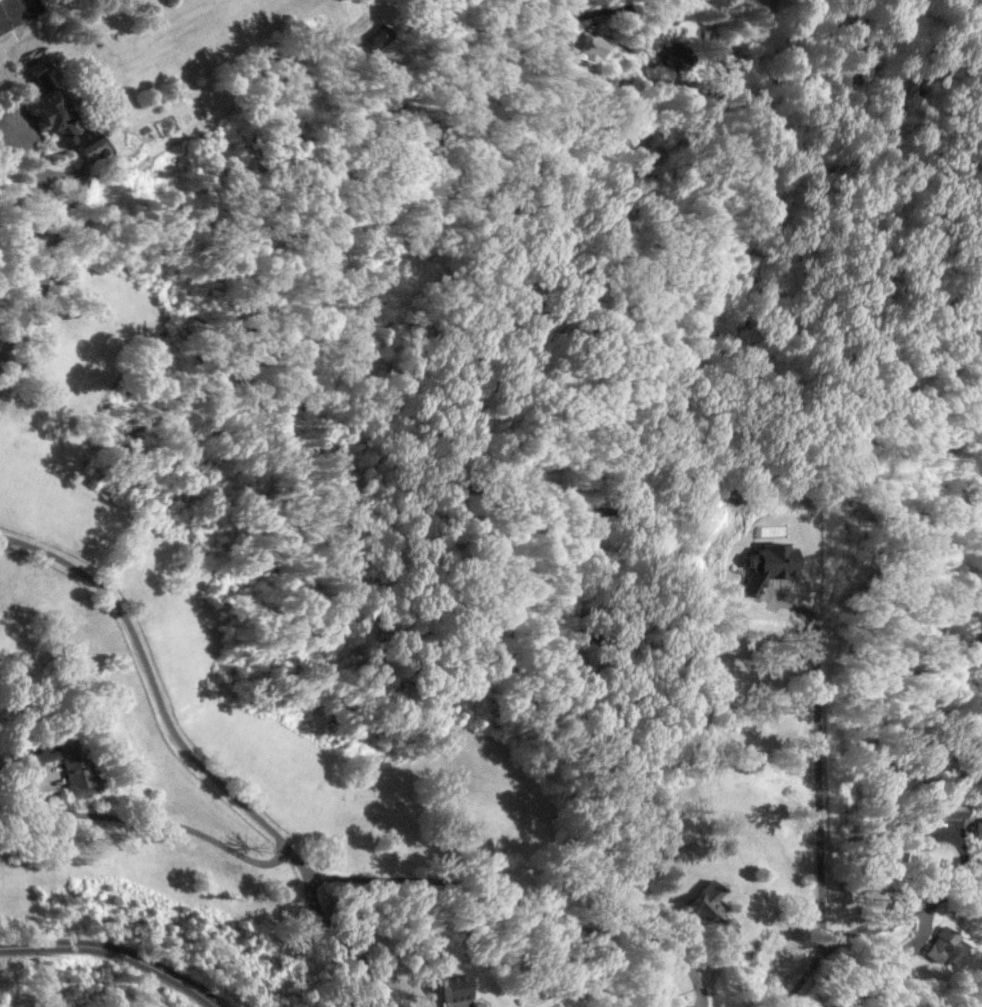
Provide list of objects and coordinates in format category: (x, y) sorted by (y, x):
road: (591, 13)
building: (375, 36)
building: (674, 54)
building: (57, 111)
road: (57, 173)
road: (30, 302)
building: (767, 564)
road: (157, 694)
building: (65, 762)
road: (811, 795)
building: (953, 809)
building: (978, 828)
road: (176, 832)
road: (907, 841)
road: (525, 904)
building: (710, 907)
road: (341, 944)
building: (944, 944)
road: (826, 949)
road: (112, 952)
building: (454, 986)
building: (478, 1003)

